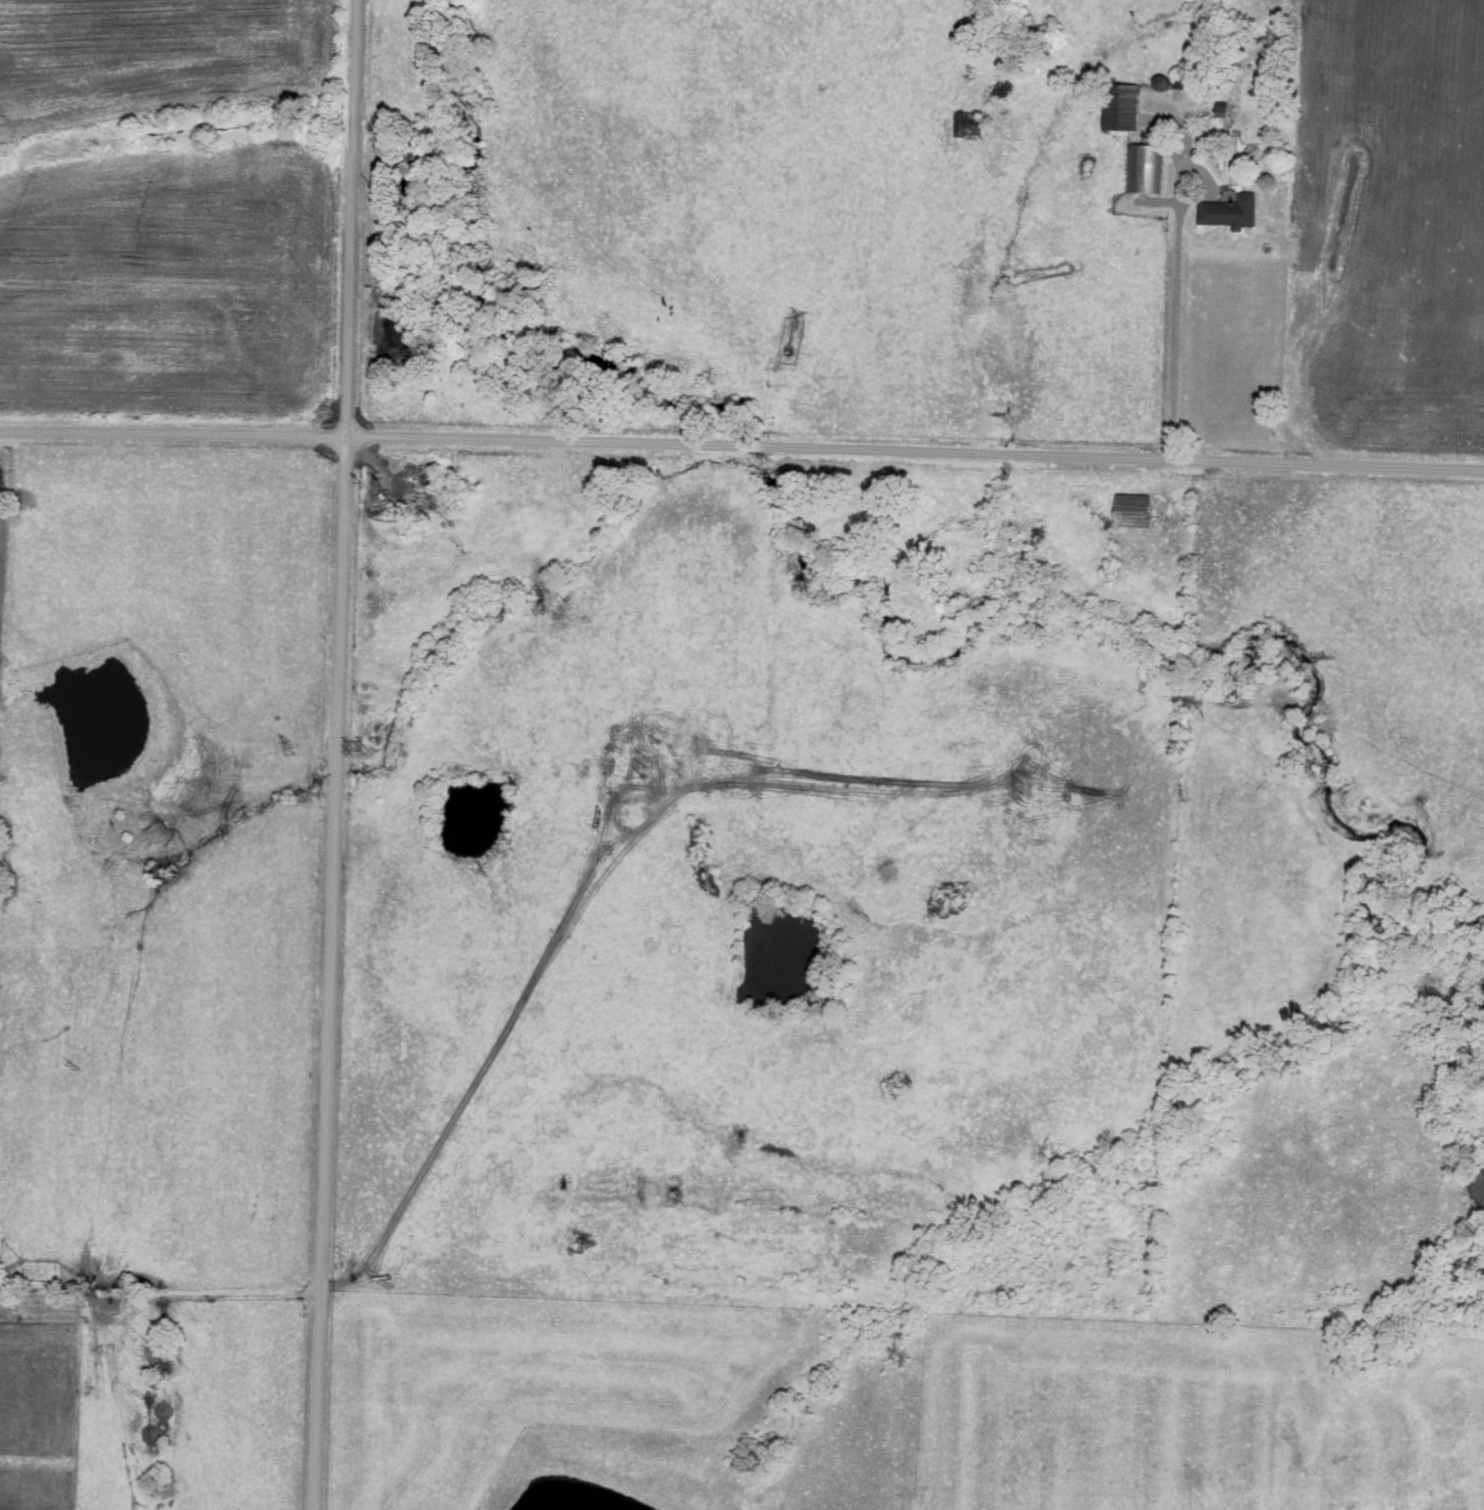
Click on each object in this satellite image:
building: (1119, 108)
building: (968, 126)
building: (1142, 169)
building: (1228, 213)
road: (349, 218)
road: (1174, 305)
road: (742, 439)
building: (1132, 511)
road: (324, 973)

